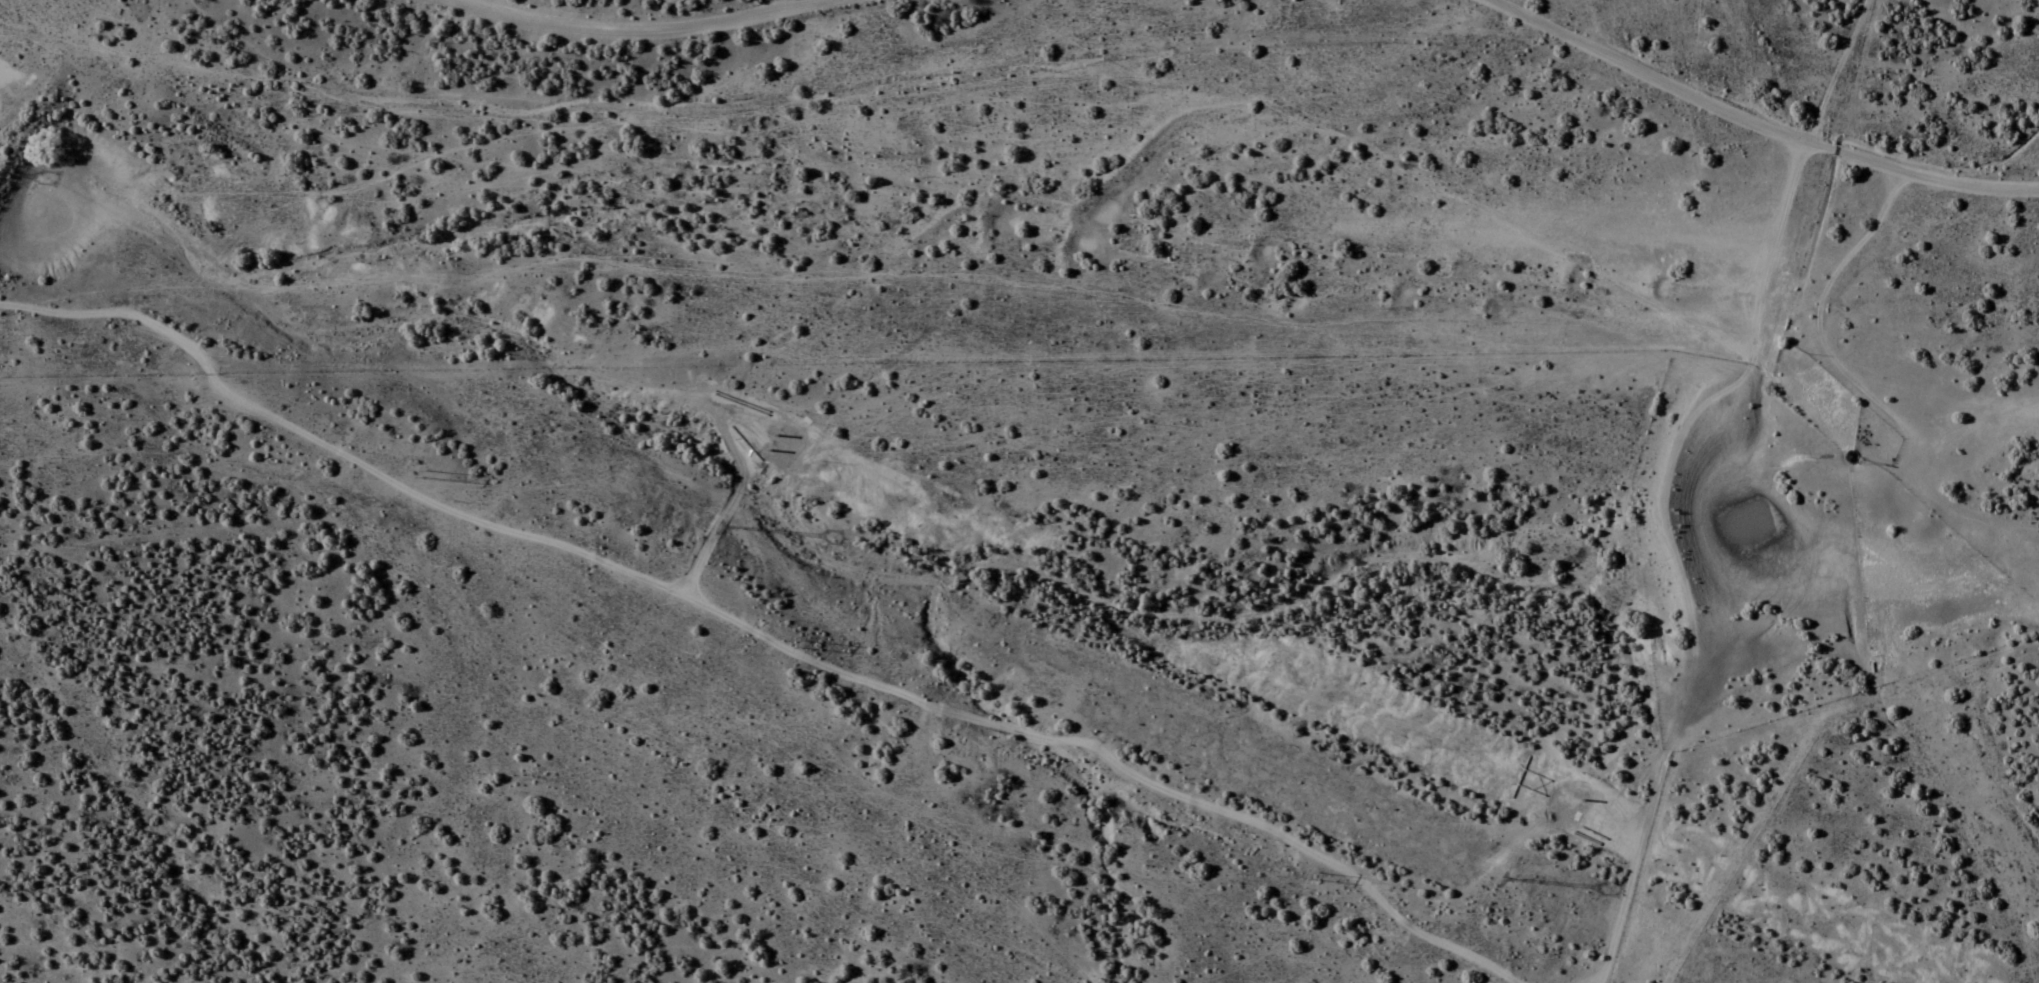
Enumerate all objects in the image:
road: (635, 25)
road: (1761, 120)
power tower: (735, 526)
road: (1679, 551)
road: (1656, 712)
power tower: (1515, 878)

